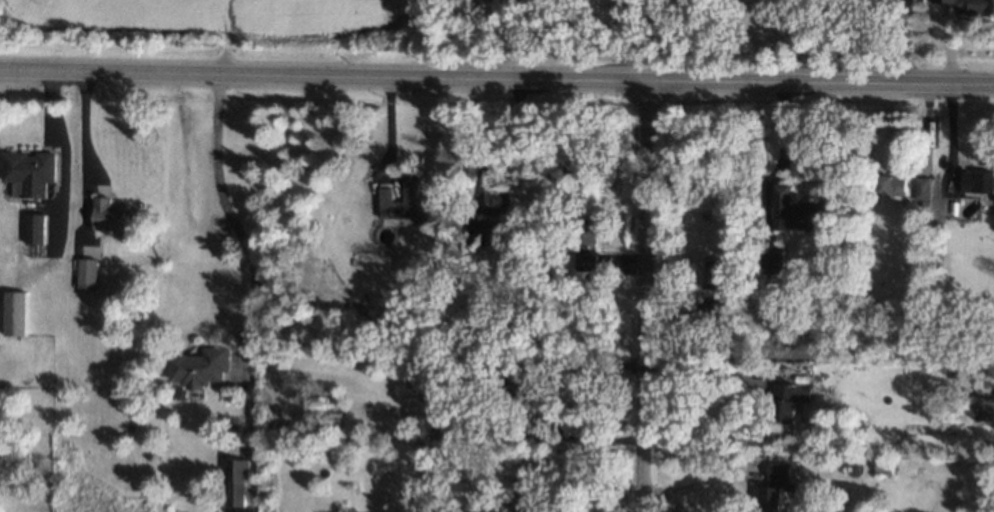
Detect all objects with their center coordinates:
building: (972, 6)
crop: (223, 11)
road: (496, 76)
road: (388, 126)
road: (64, 151)
road: (86, 153)
building: (30, 172)
building: (978, 181)
building: (895, 186)
building: (923, 187)
building: (404, 198)
building: (798, 210)
building: (117, 215)
road: (228, 215)
building: (36, 227)
building: (488, 230)
building: (592, 233)
building: (588, 260)
building: (776, 262)
building: (89, 272)
building: (716, 272)
road: (645, 296)
building: (18, 313)
road: (704, 361)
building: (201, 367)
road: (544, 399)
building: (790, 400)
building: (239, 481)
road: (694, 483)
building: (776, 485)

